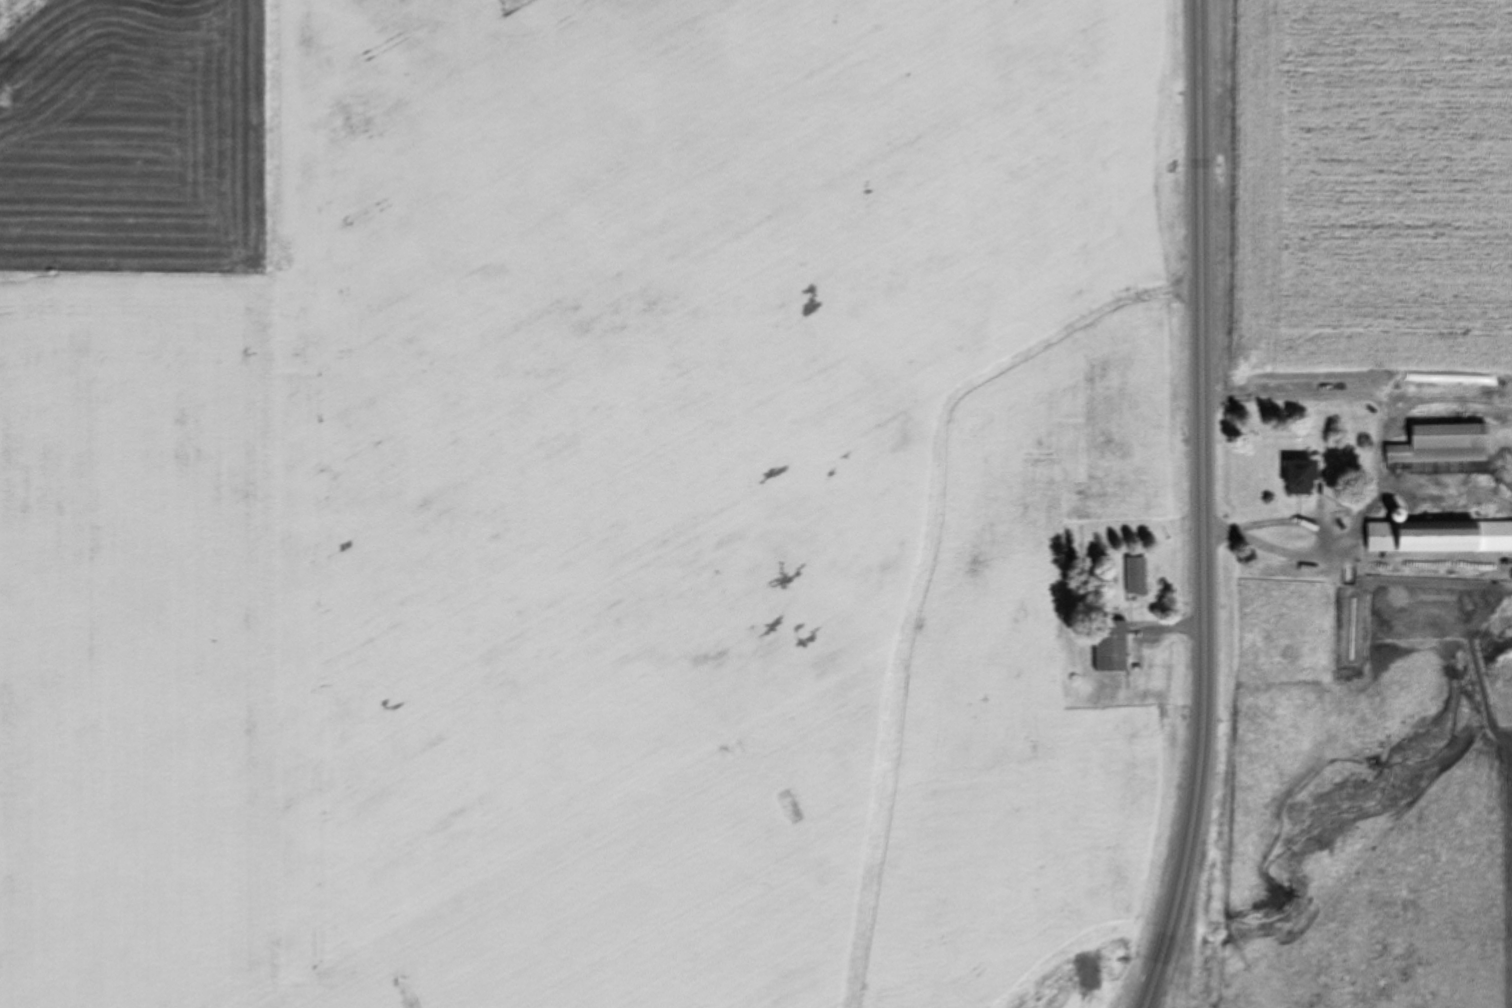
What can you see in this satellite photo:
building: (1441, 445)
building: (1300, 477)
road: (1206, 481)
building: (1439, 537)
building: (1135, 576)
building: (1110, 646)
road: (1156, 983)
road: (1175, 983)

